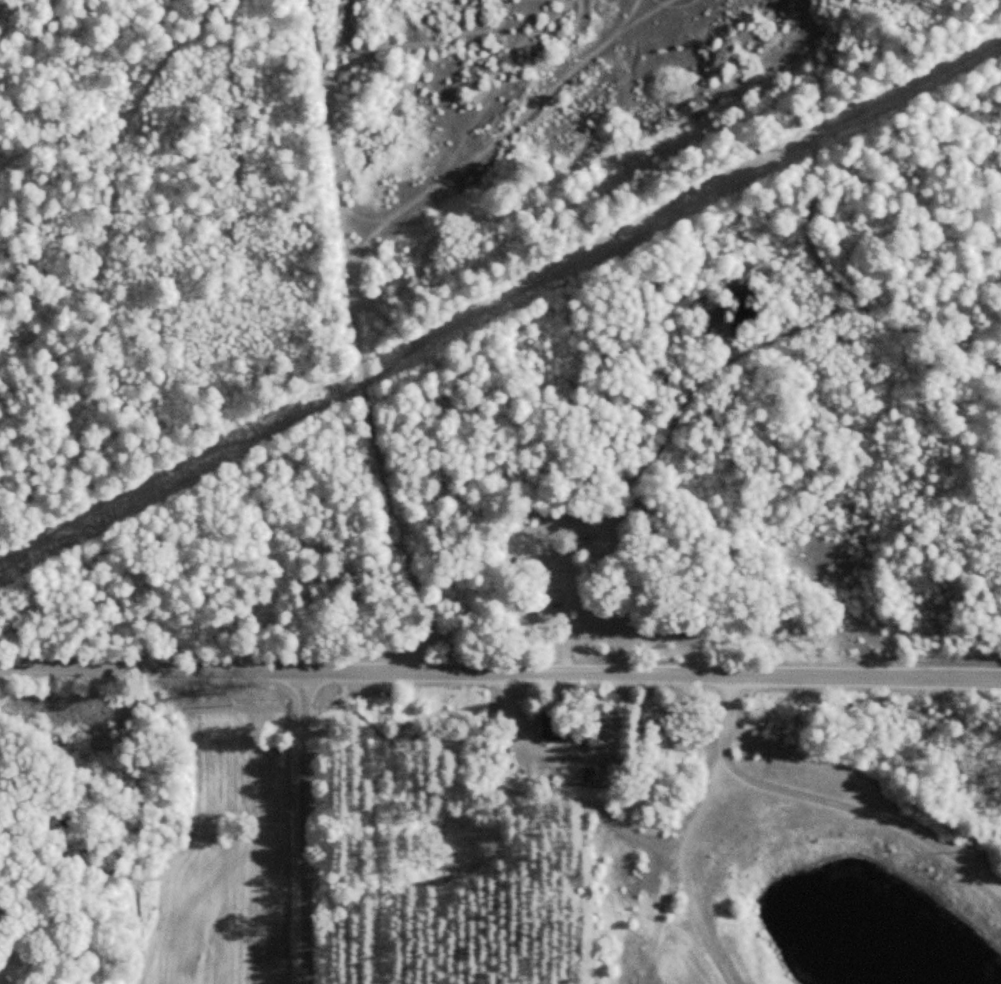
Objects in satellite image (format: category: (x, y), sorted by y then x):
building: (547, 616)
road: (500, 667)
building: (554, 725)
building: (496, 754)
building: (588, 773)
road: (310, 824)

